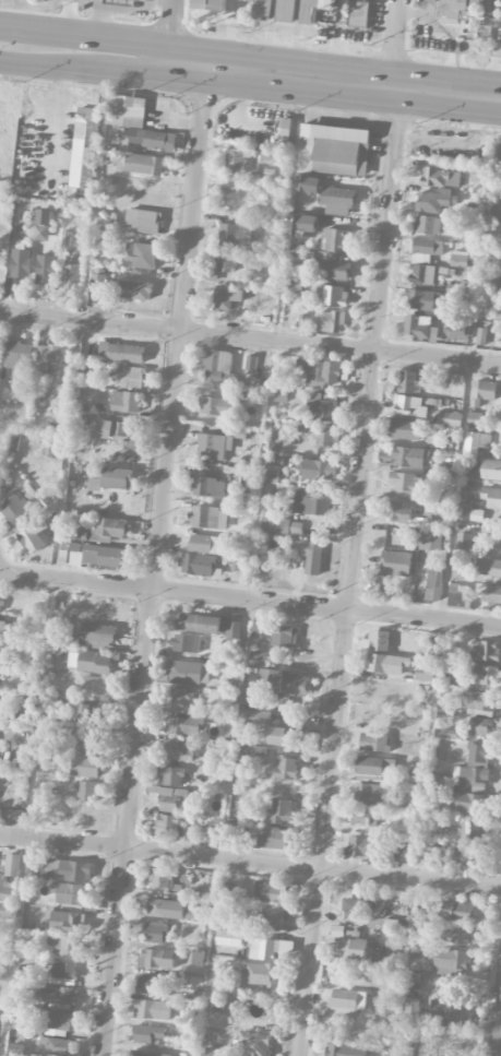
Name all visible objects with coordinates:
building: (120, 2)
building: (211, 5)
building: (262, 10)
building: (312, 10)
building: (286, 11)
building: (358, 14)
building: (474, 15)
road: (175, 23)
road: (106, 38)
road: (392, 44)
road: (103, 72)
road: (353, 84)
building: (127, 110)
building: (283, 128)
building: (333, 133)
building: (148, 140)
building: (85, 147)
building: (334, 157)
building: (236, 163)
building: (143, 165)
building: (440, 178)
building: (308, 185)
building: (338, 201)
building: (431, 202)
building: (497, 210)
building: (143, 222)
building: (43, 225)
building: (429, 225)
building: (306, 226)
building: (234, 235)
building: (337, 240)
building: (426, 250)
building: (141, 257)
building: (461, 260)
building: (226, 262)
building: (21, 264)
building: (45, 270)
building: (334, 271)
building: (421, 275)
building: (71, 276)
building: (97, 285)
building: (295, 285)
building: (134, 290)
building: (331, 295)
building: (226, 298)
building: (420, 300)
building: (301, 322)
building: (329, 322)
building: (419, 328)
building: (457, 331)
building: (481, 337)
road: (250, 339)
building: (122, 353)
building: (17, 355)
building: (53, 356)
building: (250, 366)
building: (217, 368)
building: (319, 372)
building: (131, 377)
building: (408, 383)
building: (482, 392)
building: (126, 402)
building: (217, 406)
building: (321, 407)
building: (410, 407)
building: (449, 419)
building: (475, 419)
building: (405, 430)
building: (119, 434)
building: (239, 435)
building: (326, 438)
building: (14, 442)
building: (475, 444)
building: (212, 447)
building: (53, 449)
building: (407, 458)
building: (320, 471)
building: (491, 471)
building: (272, 475)
building: (108, 478)
building: (248, 484)
building: (207, 488)
building: (443, 498)
building: (492, 499)
building: (309, 505)
building: (14, 510)
building: (398, 511)
building: (439, 512)
building: (465, 512)
building: (208, 518)
building: (275, 526)
building: (107, 530)
building: (79, 535)
building: (33, 536)
building: (463, 542)
building: (206, 545)
building: (70, 547)
building: (308, 556)
building: (104, 557)
road: (155, 562)
building: (395, 565)
building: (196, 566)
road: (252, 567)
building: (488, 568)
road: (350, 572)
building: (457, 573)
road: (448, 578)
building: (433, 586)
building: (491, 594)
building: (457, 595)
building: (0, 597)
road: (250, 606)
building: (199, 624)
building: (232, 630)
building: (274, 634)
building: (92, 637)
building: (379, 641)
building: (186, 644)
building: (487, 651)
building: (1, 653)
building: (227, 657)
building: (259, 660)
building: (88, 662)
building: (386, 664)
building: (426, 671)
building: (188, 673)
building: (485, 677)
building: (282, 683)
building: (247, 697)
building: (182, 700)
building: (478, 701)
building: (88, 712)
building: (479, 713)
building: (253, 720)
building: (182, 726)
building: (478, 726)
building: (286, 734)
building: (91, 739)
building: (374, 743)
building: (0, 745)
building: (179, 751)
building: (257, 751)
building: (56, 756)
building: (478, 756)
building: (24, 760)
building: (86, 767)
building: (287, 769)
building: (370, 769)
building: (170, 776)
building: (417, 778)
building: (465, 779)
building: (87, 792)
building: (367, 794)
building: (174, 800)
building: (466, 803)
building: (282, 811)
building: (15, 816)
building: (360, 817)
building: (166, 824)
building: (468, 829)
building: (274, 839)
building: (358, 846)
building: (403, 846)
building: (426, 858)
building: (463, 861)
road: (250, 863)
building: (12, 866)
building: (61, 869)
building: (160, 879)
building: (7, 890)
building: (226, 891)
building: (270, 892)
building: (70, 894)
building: (165, 910)
building: (7, 911)
building: (353, 911)
building: (457, 912)
building: (271, 917)
building: (67, 923)
building: (156, 932)
building: (456, 936)
building: (229, 939)
building: (393, 945)
building: (65, 946)
building: (353, 948)
building: (270, 949)
building: (156, 959)
building: (417, 961)
building: (451, 962)
building: (63, 971)
building: (260, 975)
building: (154, 986)
building: (58, 995)
building: (347, 1004)
building: (410, 1009)
building: (153, 1010)
building: (445, 1010)
building: (57, 1023)
building: (147, 1034)
road: (498, 1034)
building: (251, 1045)
building: (59, 1047)
building: (343, 1049)
building: (15, 1051)
building: (212, 1052)
building: (150, 1054)

